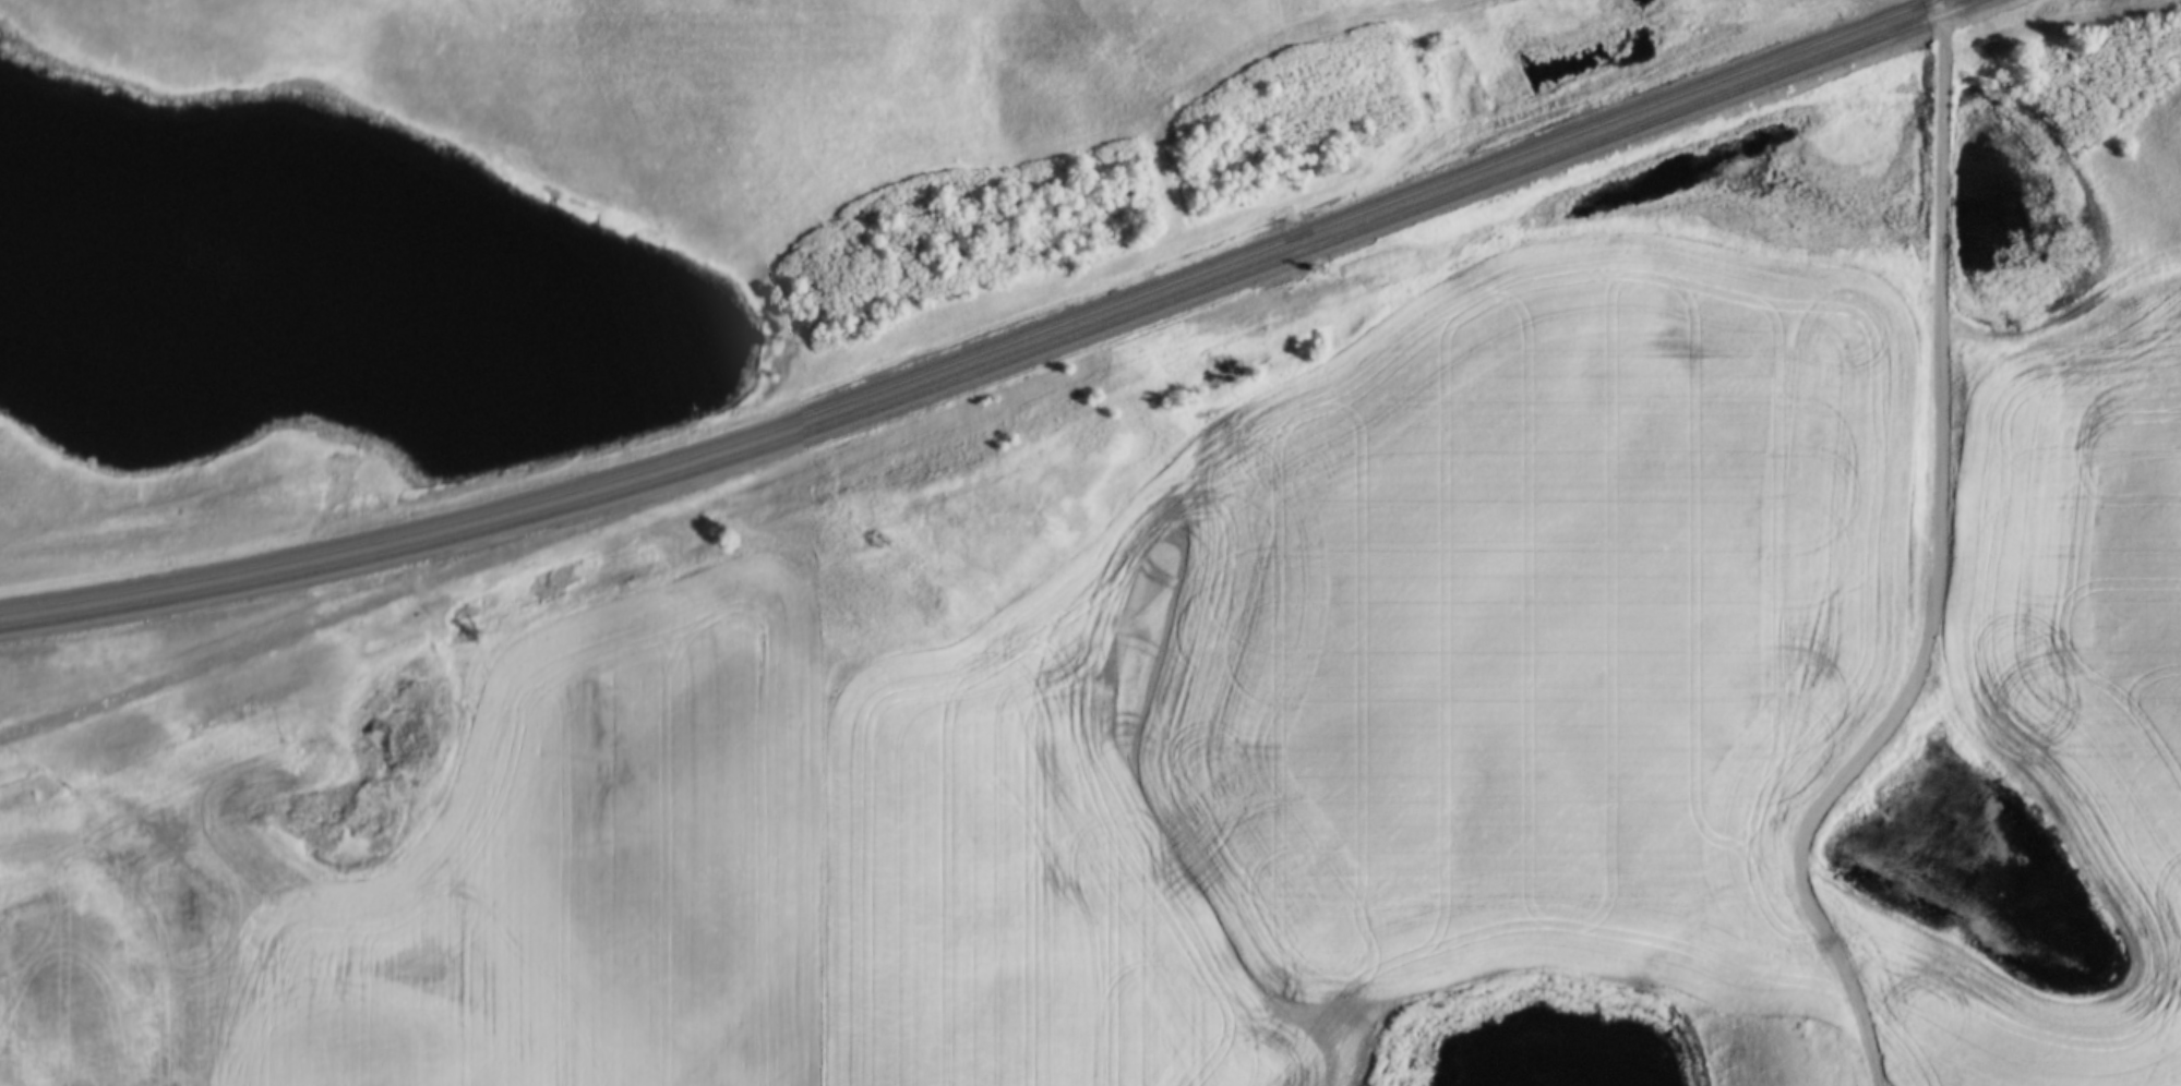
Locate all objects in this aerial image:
road: (2062, 323)
railway: (983, 354)
railway: (1005, 362)
road: (1931, 567)

